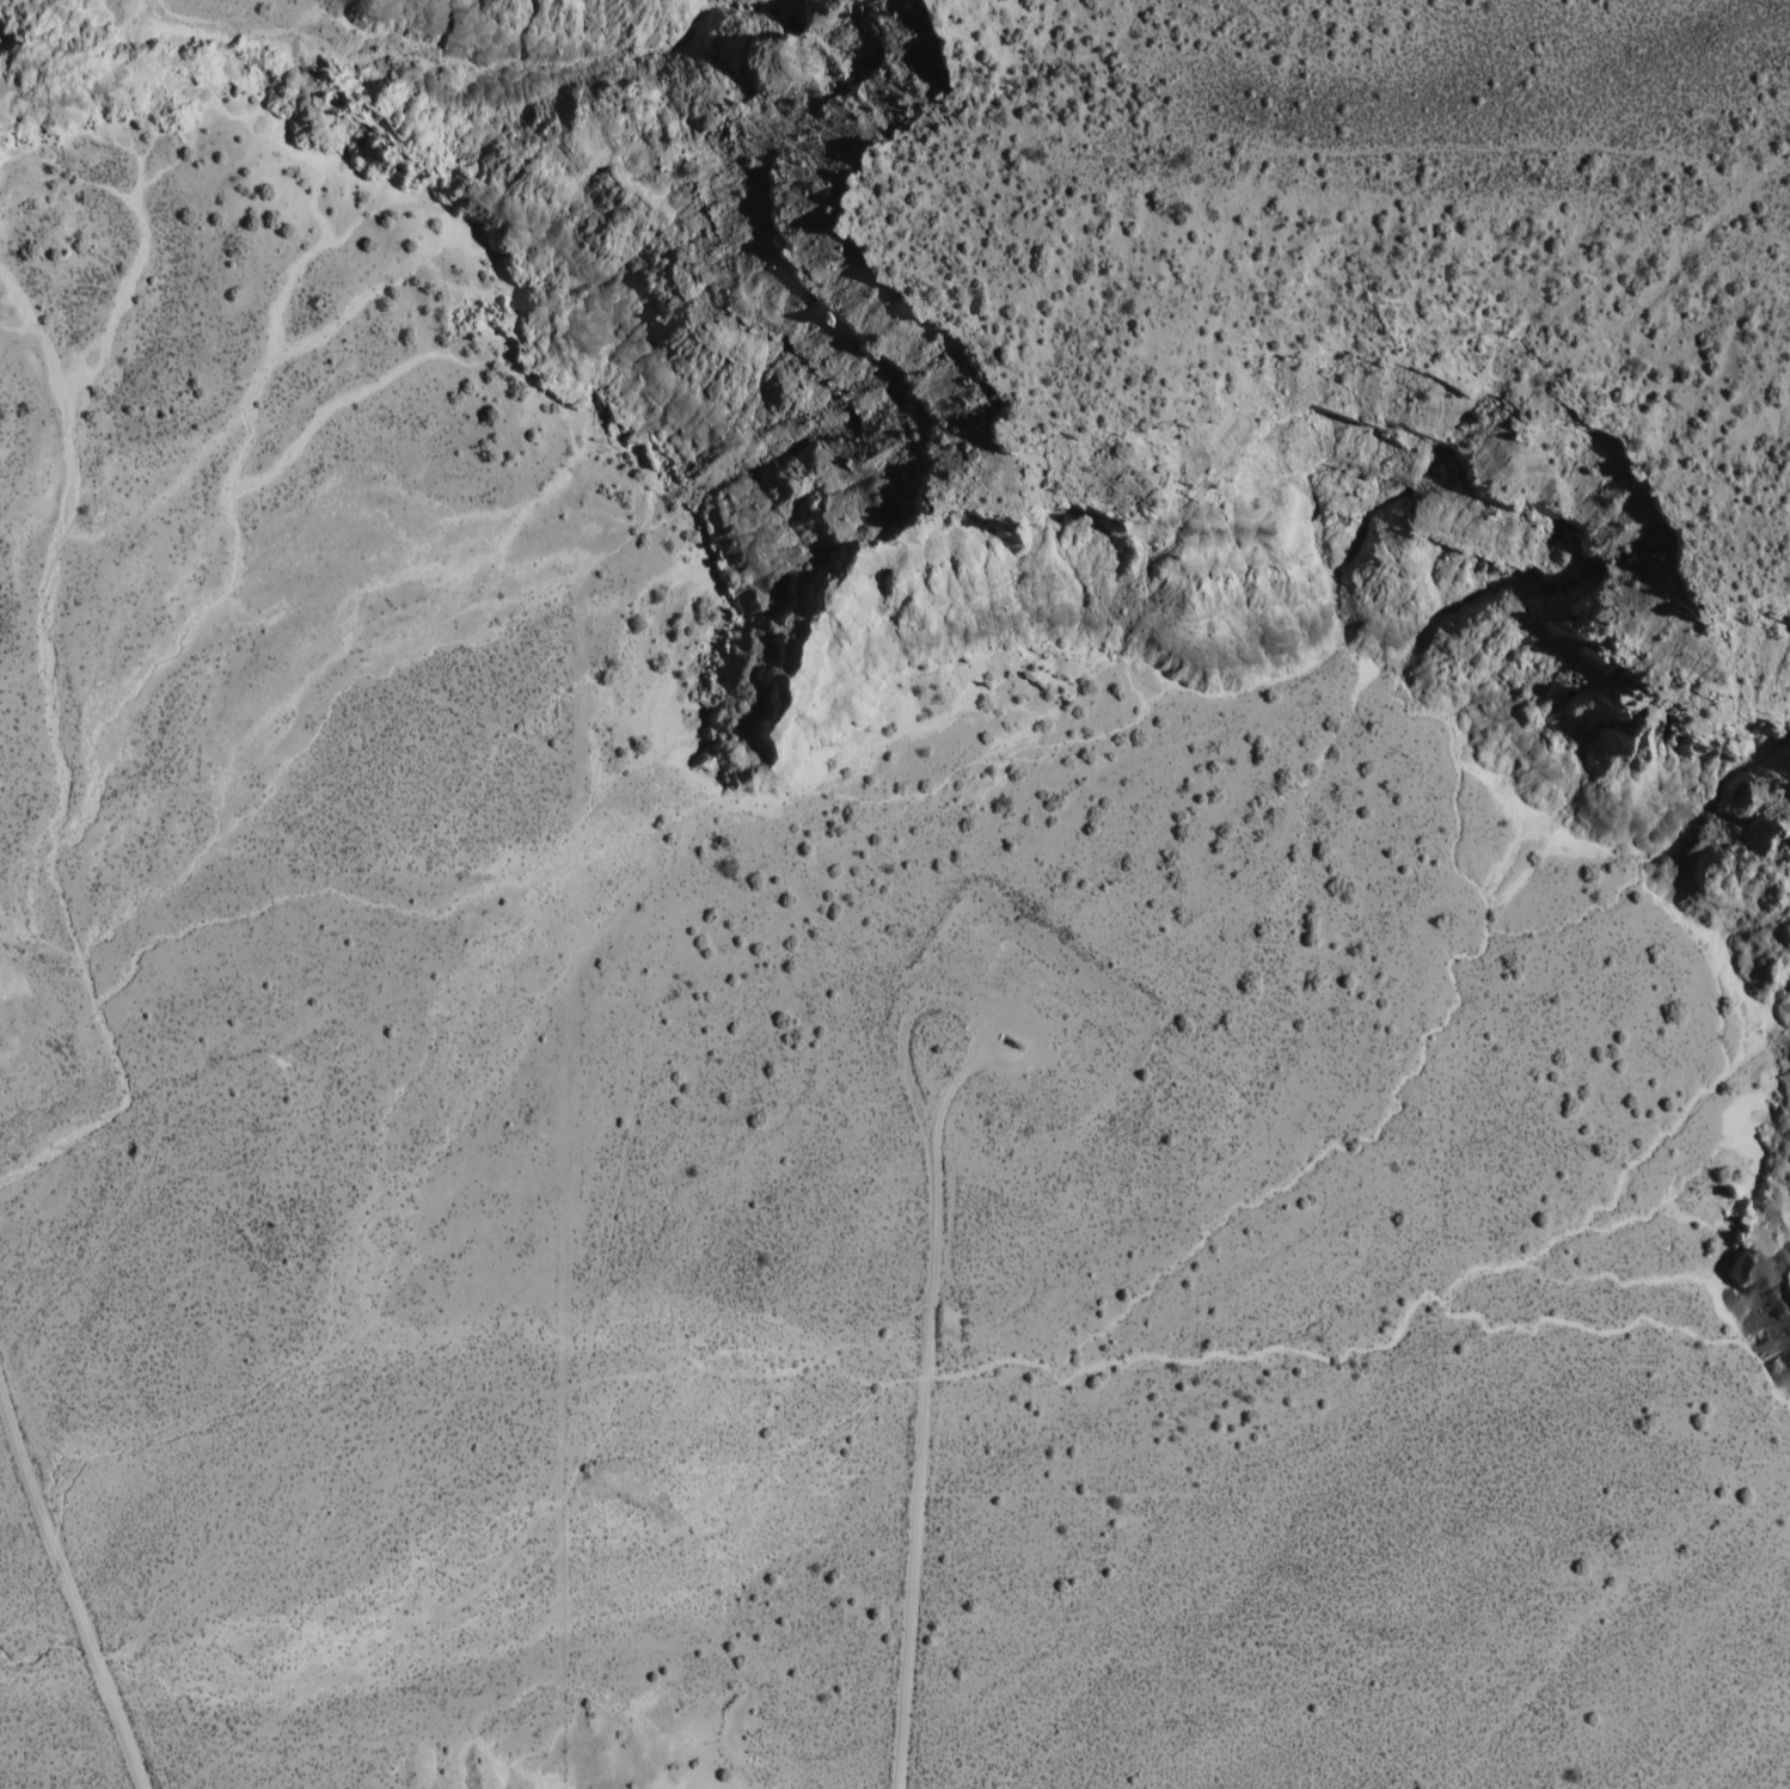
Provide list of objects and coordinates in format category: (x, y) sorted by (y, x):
road: (106, 1573)

